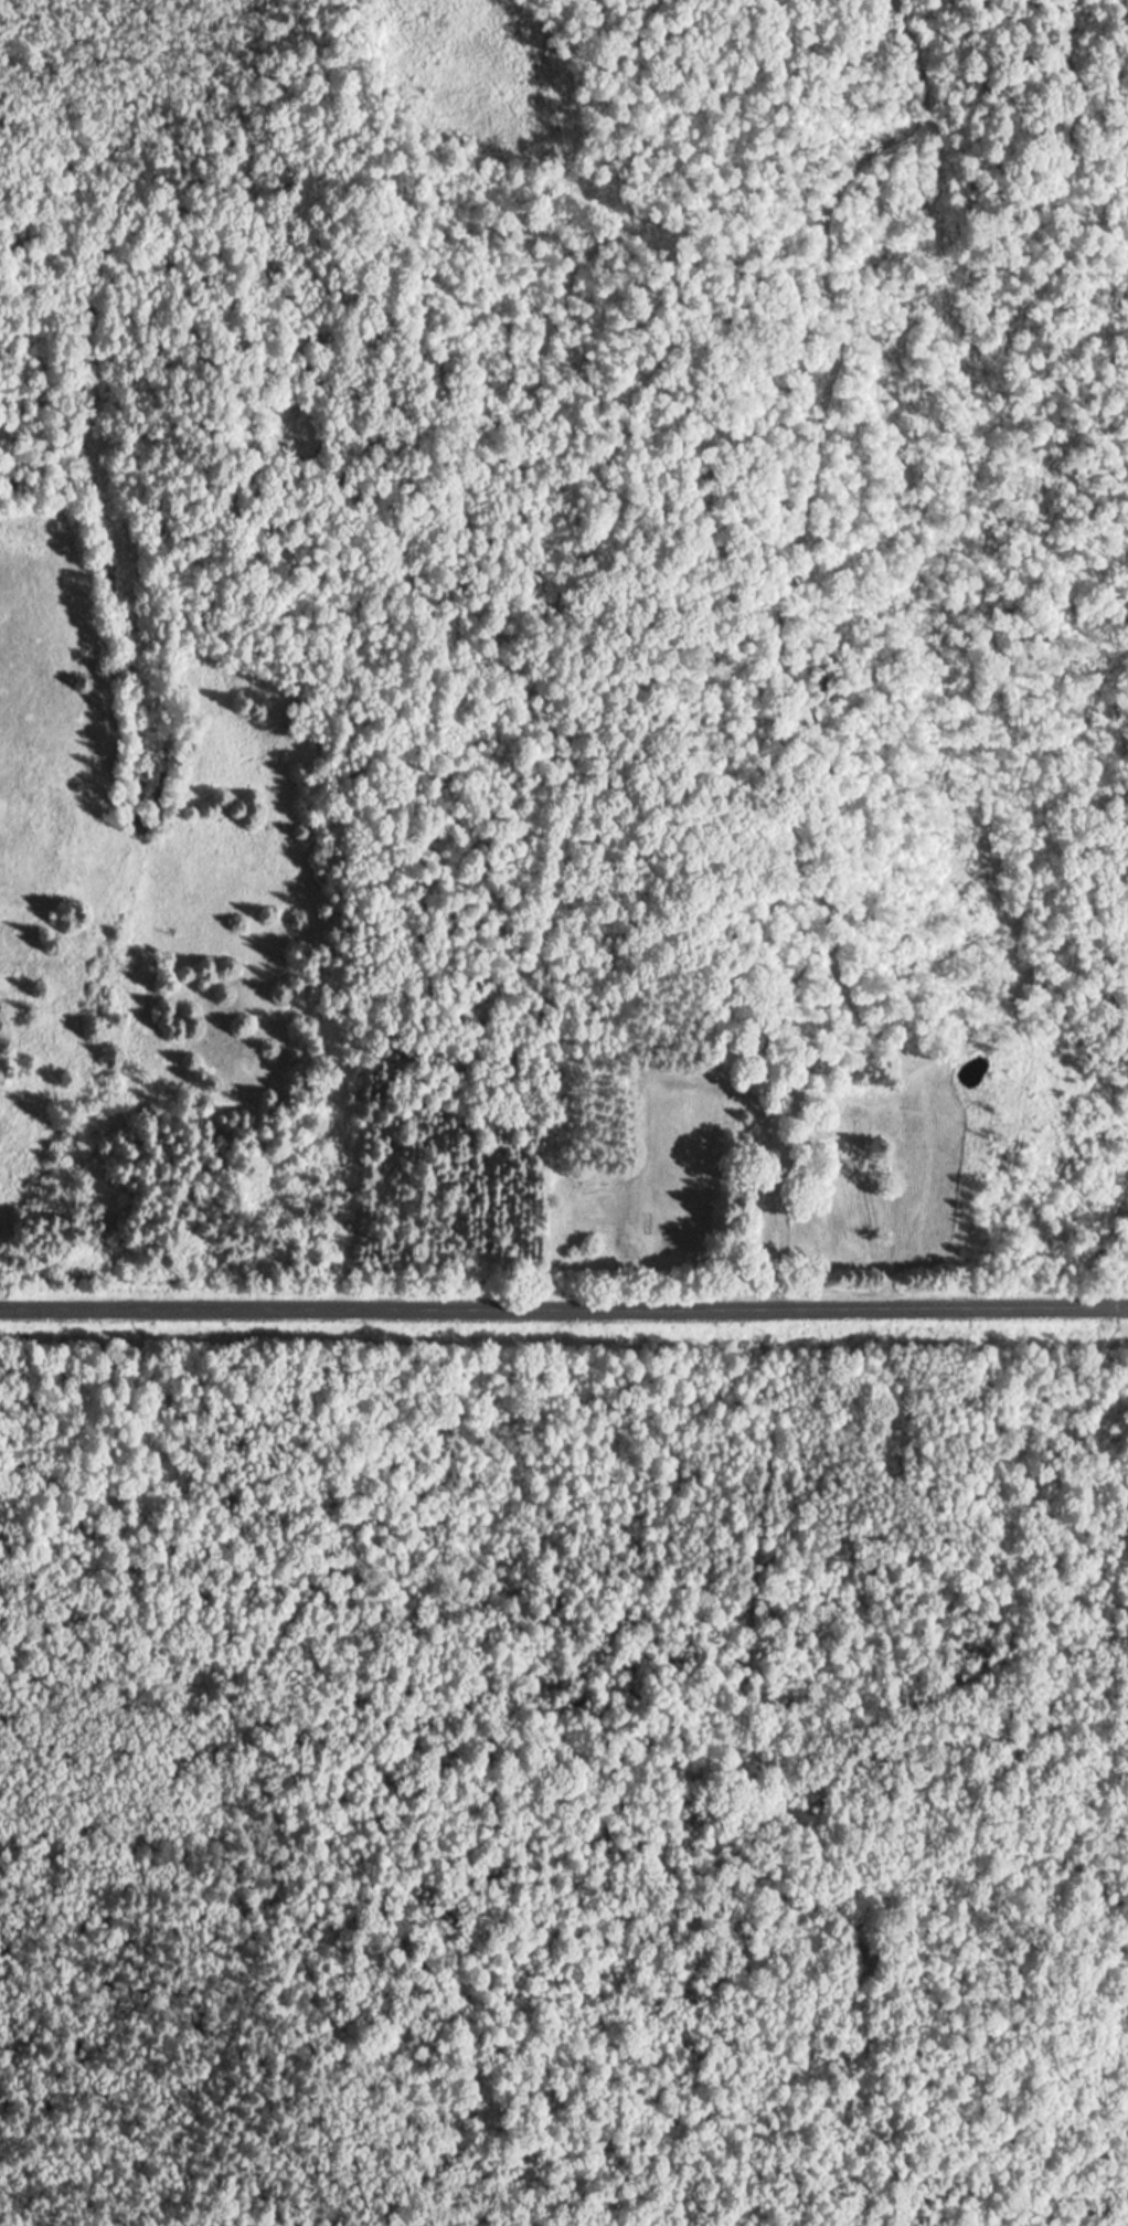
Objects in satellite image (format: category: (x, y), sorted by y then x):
road: (564, 1297)
road: (1121, 2217)

